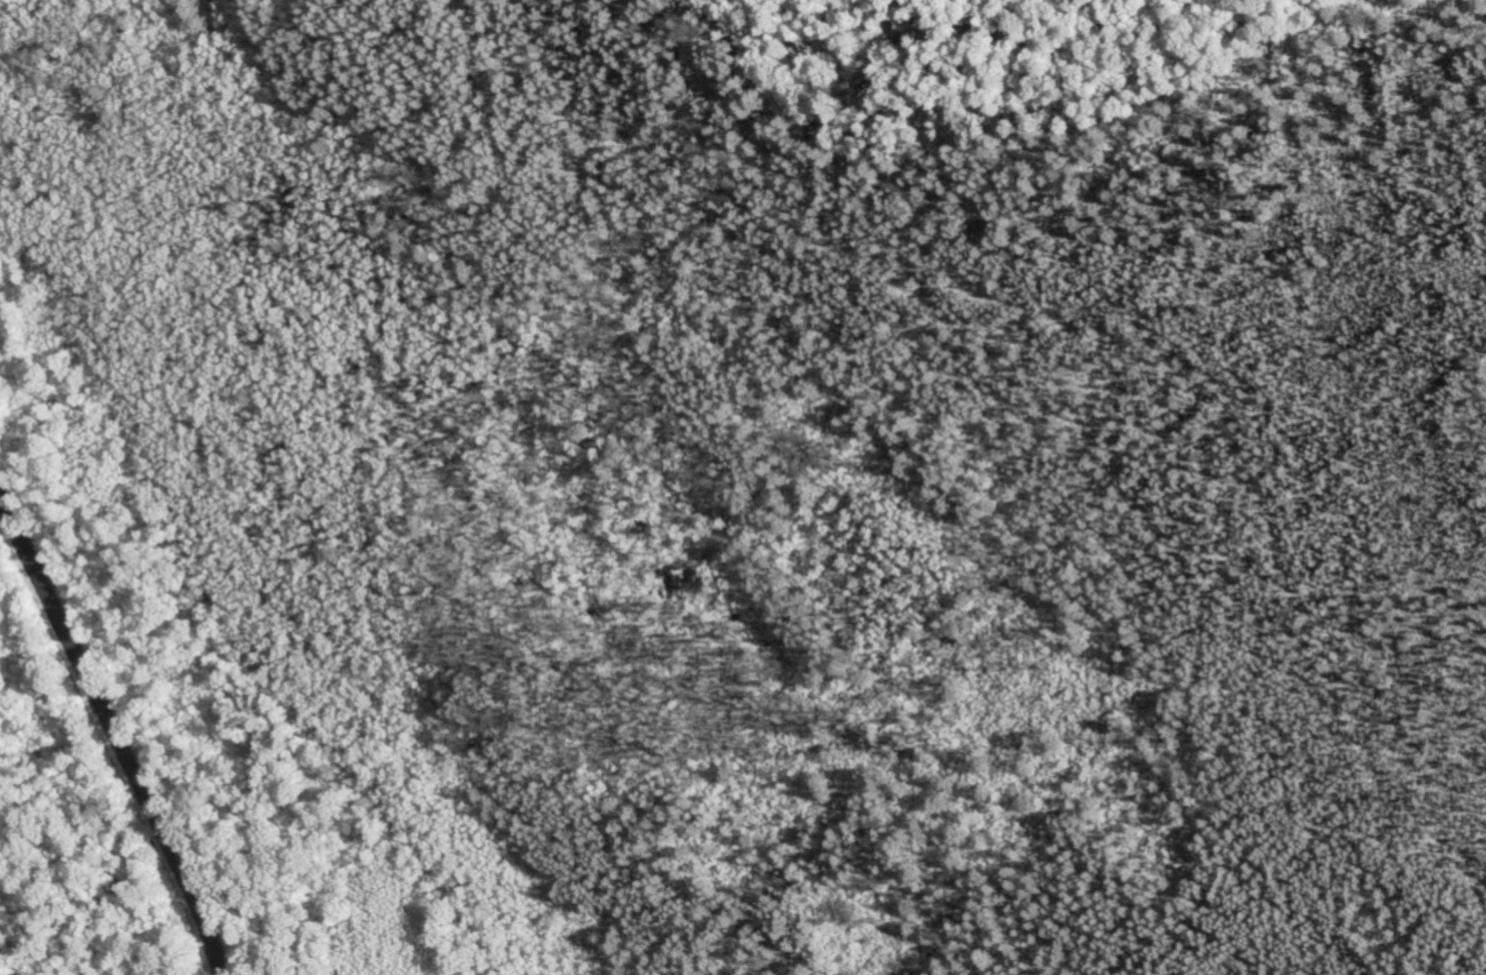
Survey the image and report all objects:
road: (133, 704)

